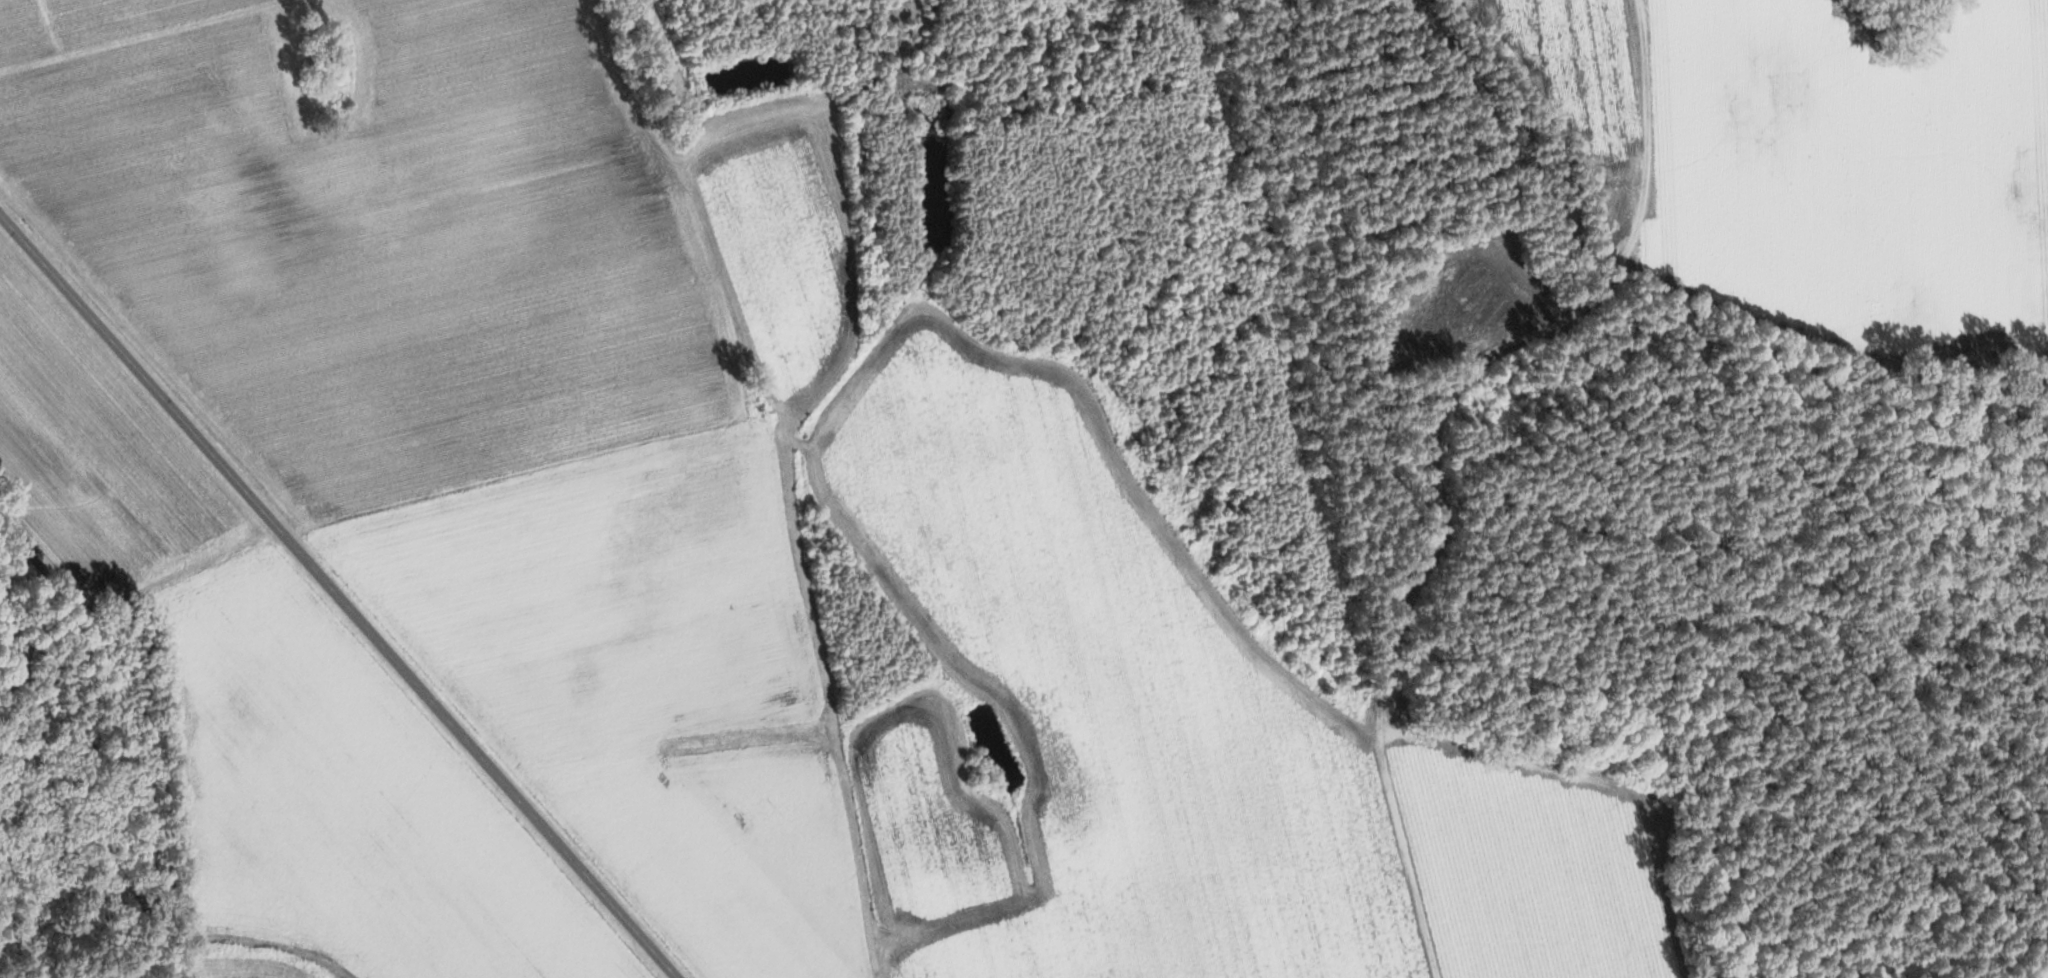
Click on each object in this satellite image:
road: (336, 597)

